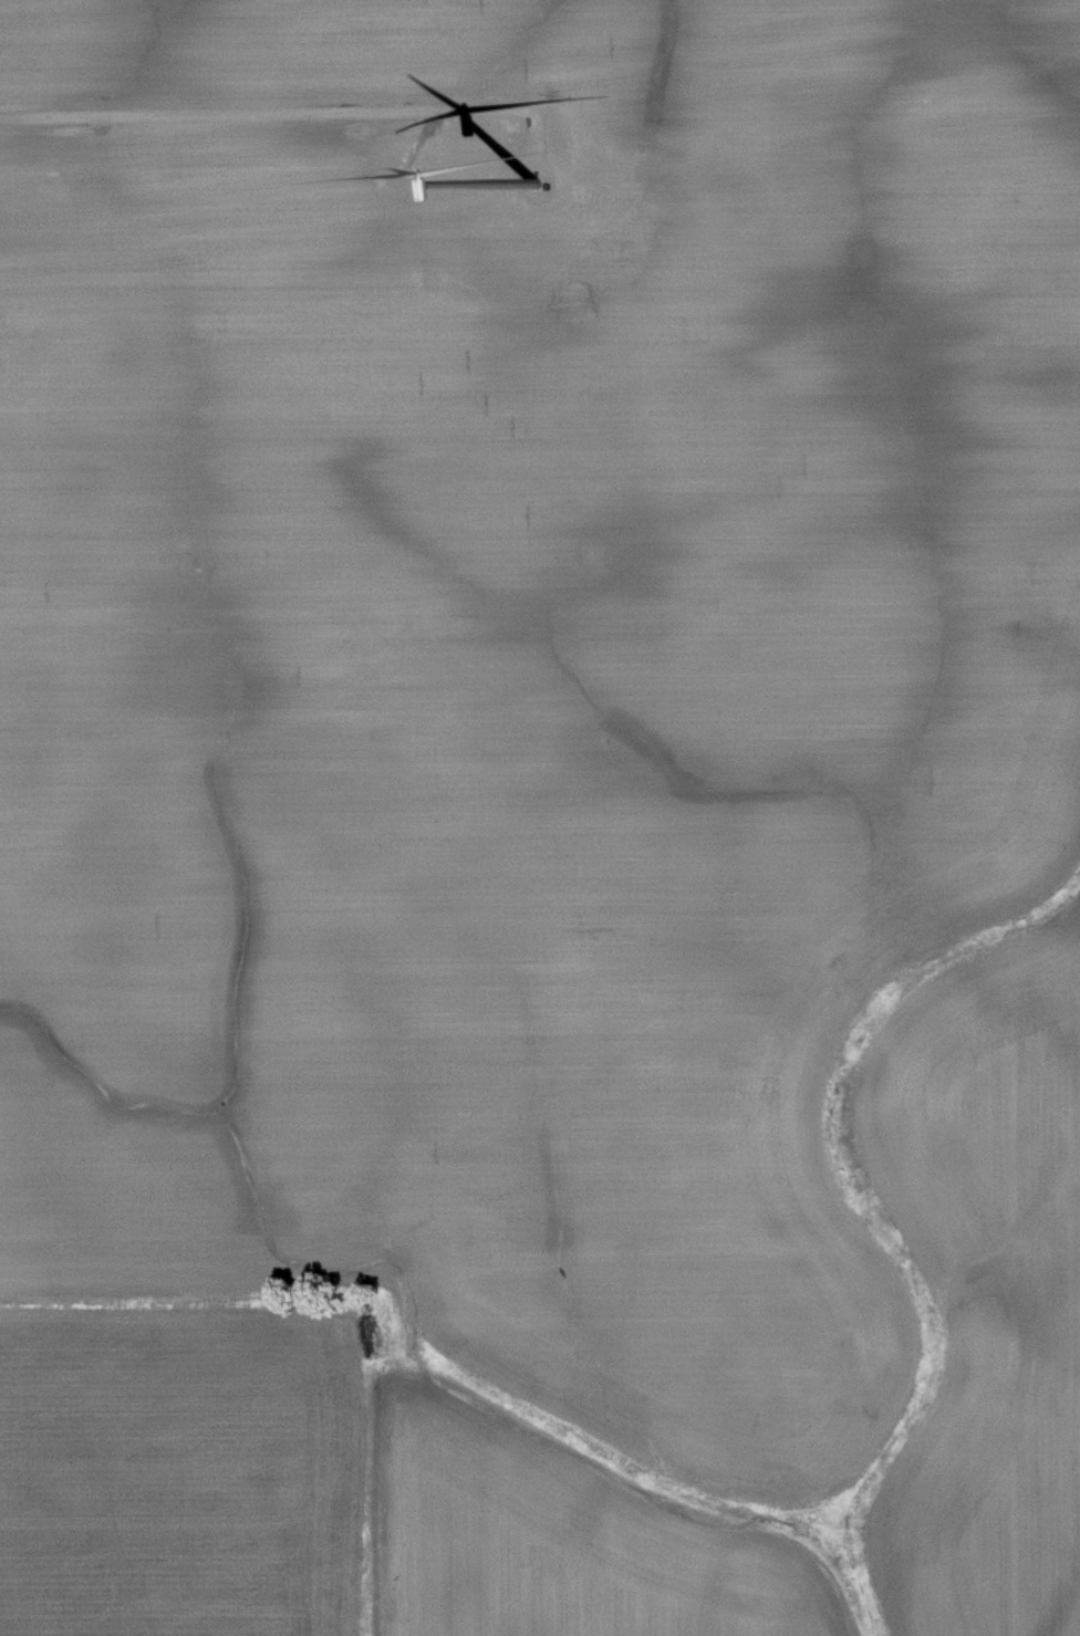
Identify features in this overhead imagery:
wind turbine: (526, 181)

